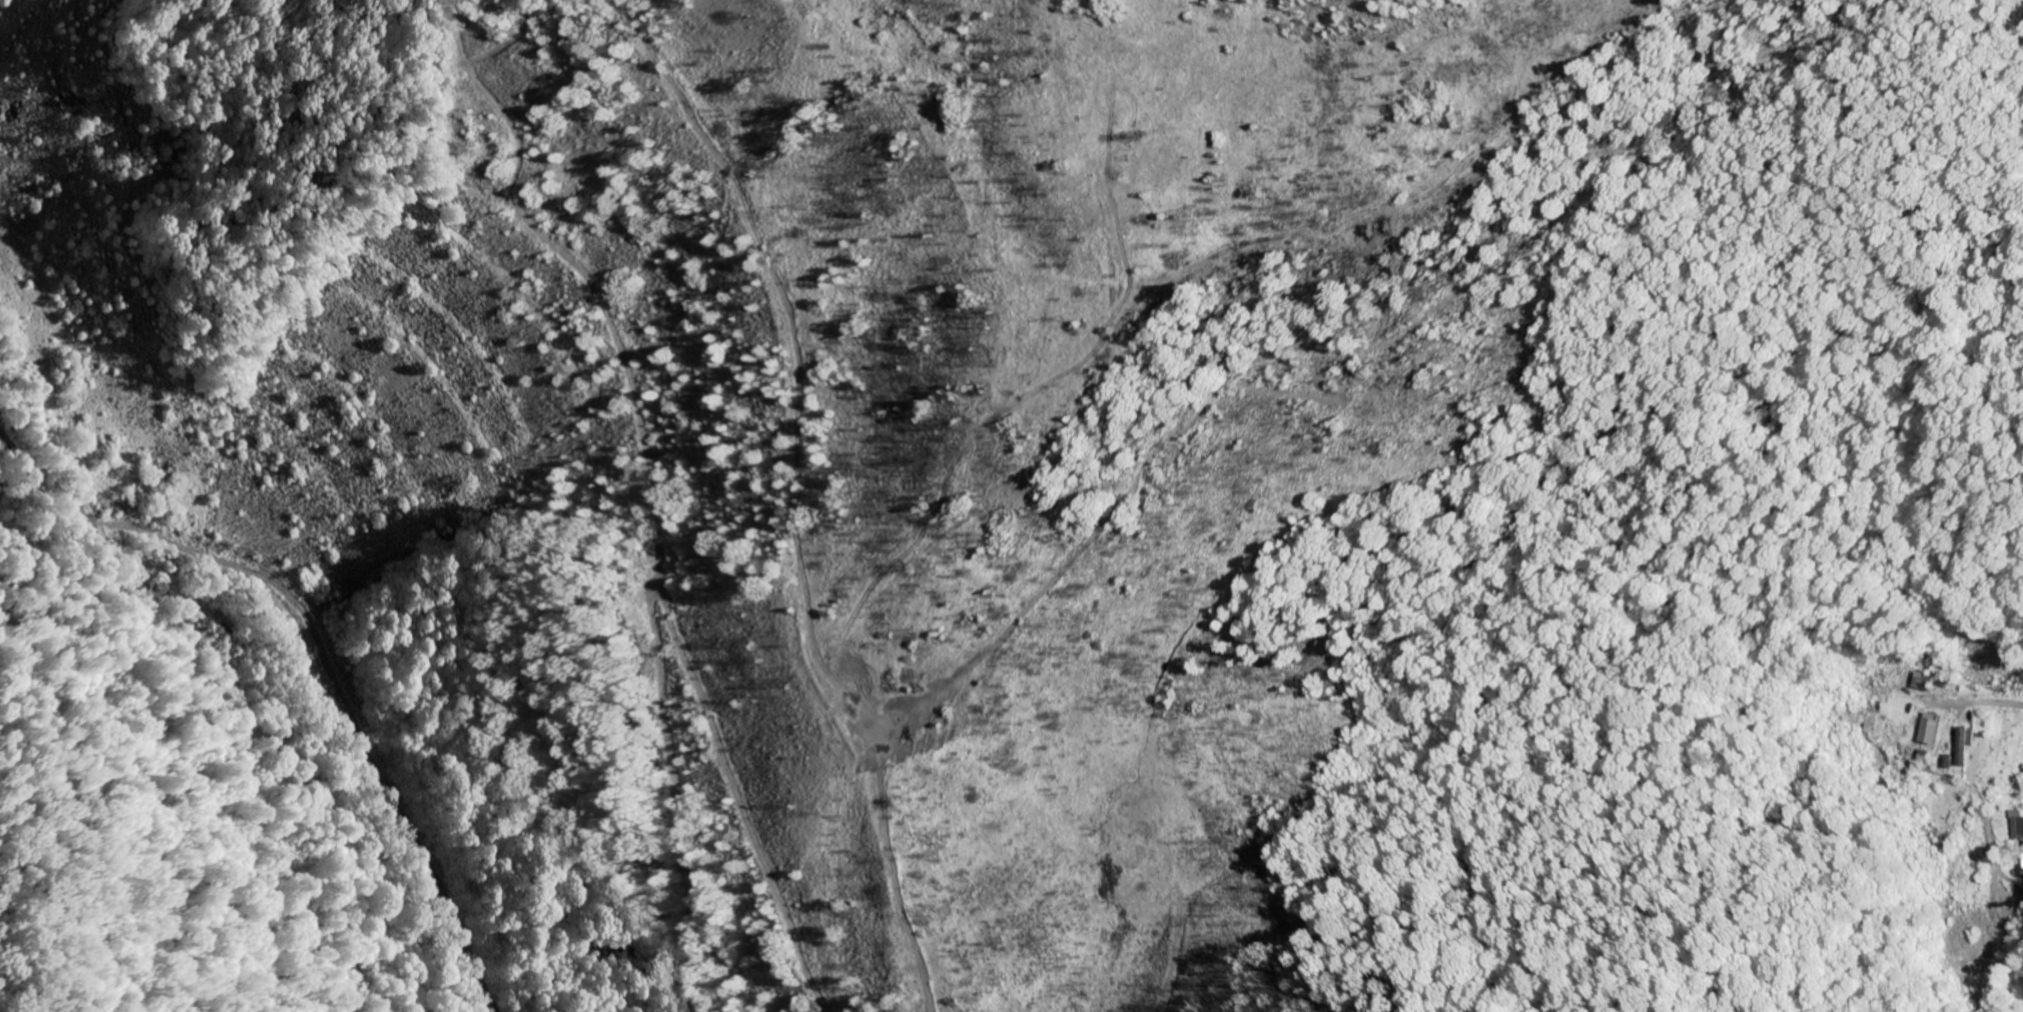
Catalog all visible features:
building: (1920, 682)
building: (1962, 745)
building: (2019, 866)

